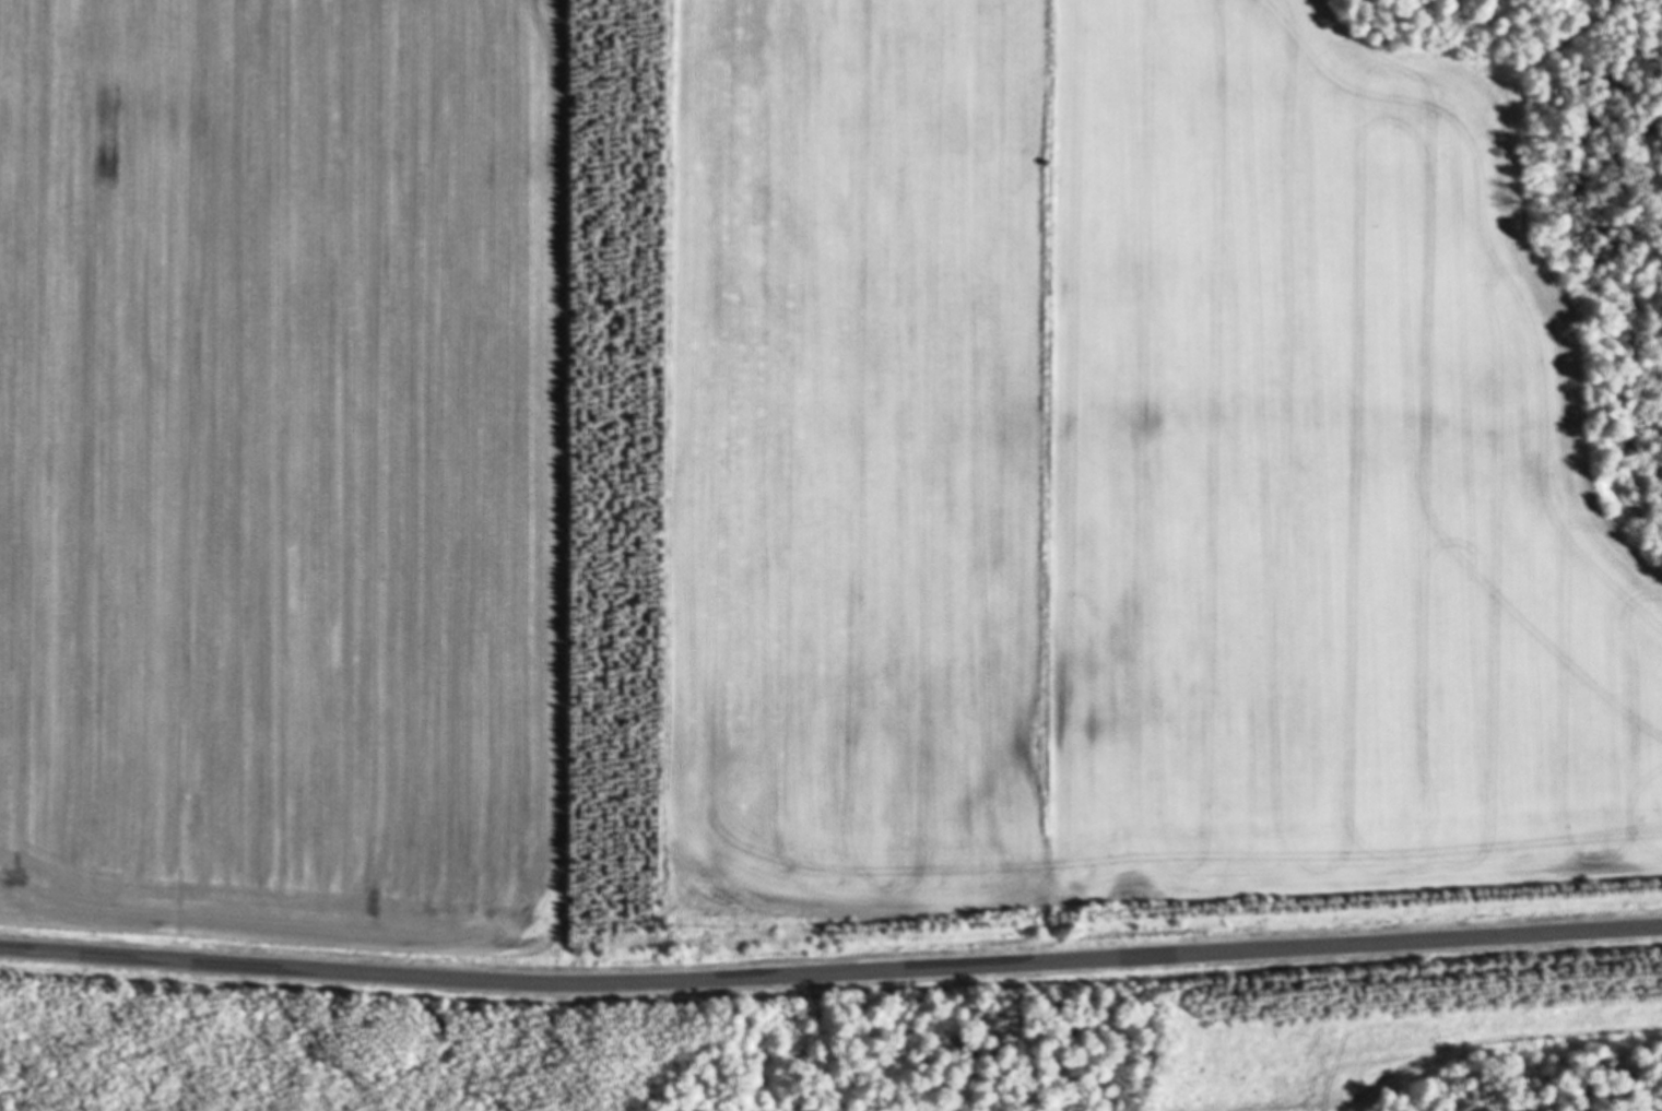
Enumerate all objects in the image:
road: (830, 971)

